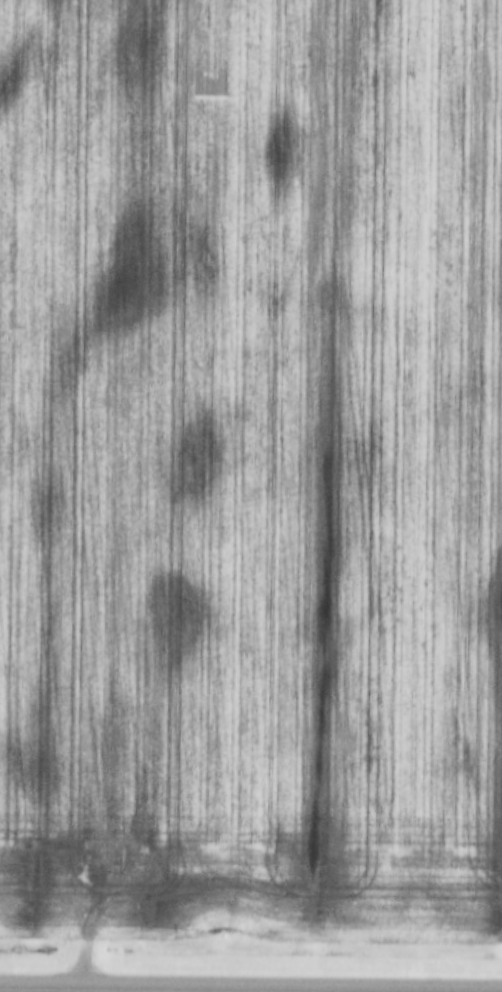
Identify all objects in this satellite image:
road: (224, 989)

